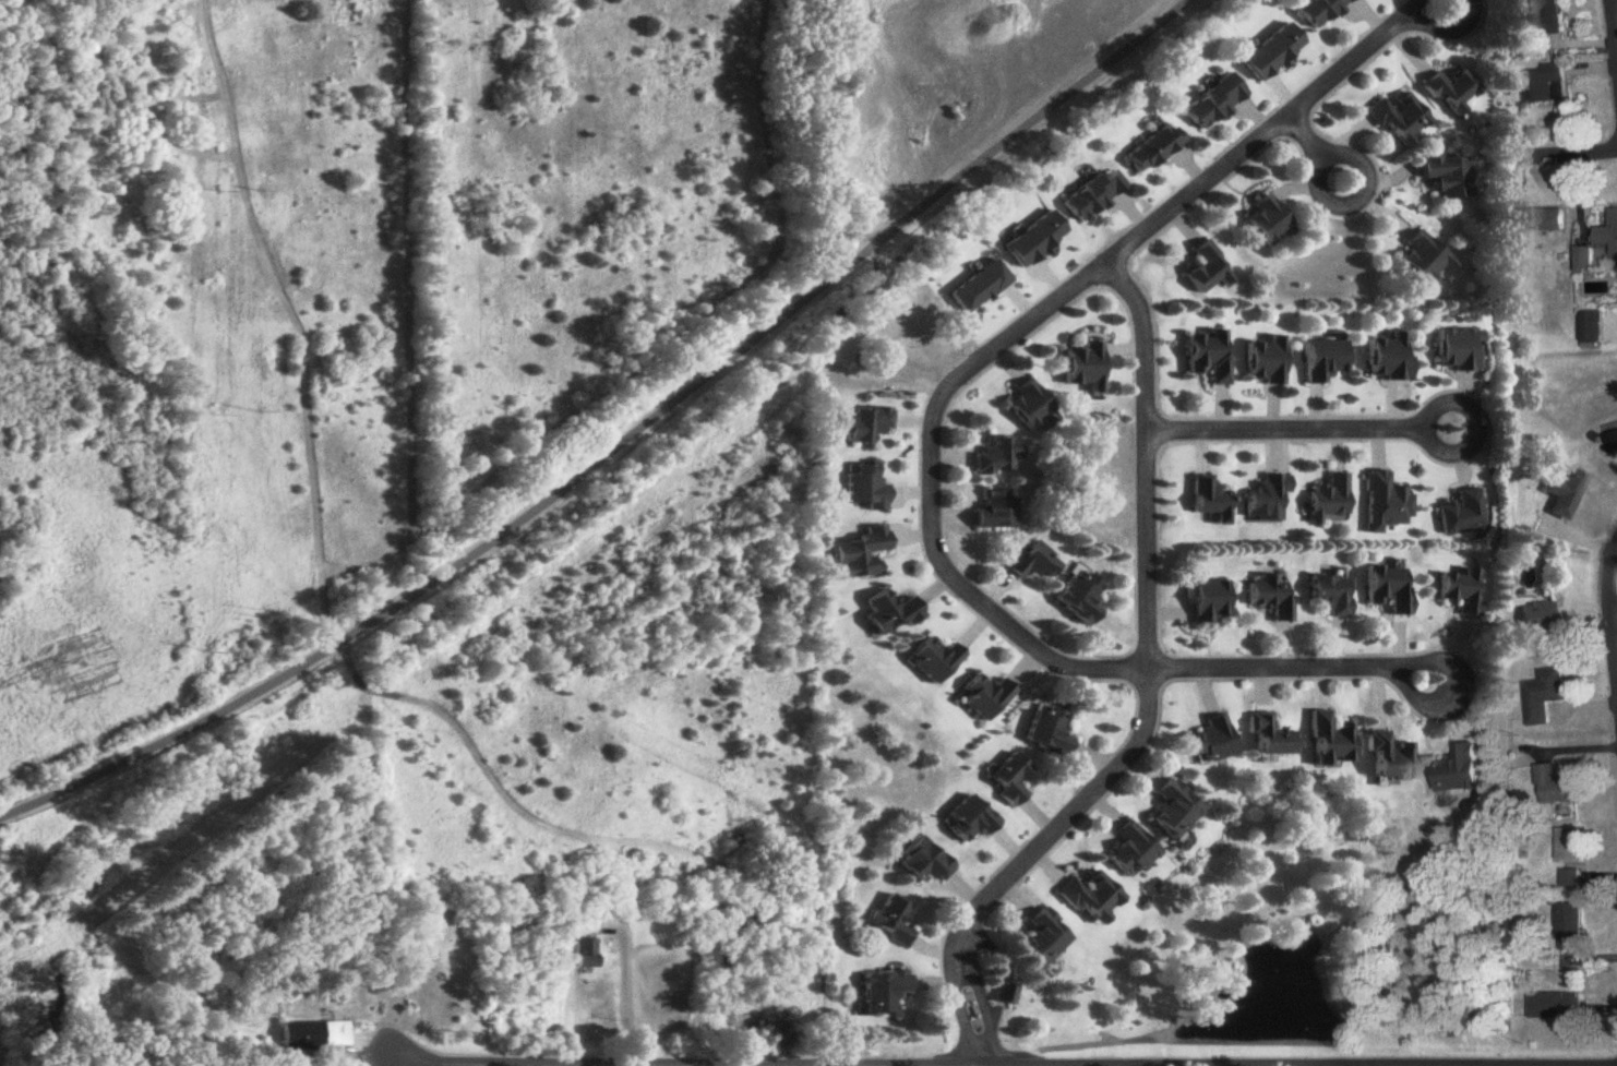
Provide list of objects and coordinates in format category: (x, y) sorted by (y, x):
road: (1616, 5)
road: (1410, 8)
building: (1319, 10)
building: (1546, 17)
road: (1445, 27)
building: (1546, 85)
building: (1454, 94)
building: (1215, 101)
building: (1401, 119)
road: (1314, 148)
building: (1155, 149)
road: (1561, 152)
building: (1449, 177)
building: (1094, 196)
building: (1268, 221)
building: (1540, 221)
building: (1608, 233)
building: (1425, 260)
building: (1584, 261)
building: (1209, 271)
road: (780, 312)
building: (1588, 327)
building: (1210, 356)
building: (1390, 358)
building: (1326, 361)
building: (1267, 362)
building: (1088, 368)
building: (1030, 408)
building: (867, 426)
road: (934, 428)
road: (1298, 428)
building: (1613, 444)
building: (999, 458)
building: (866, 488)
building: (1567, 492)
building: (1268, 499)
building: (1330, 499)
building: (1212, 500)
building: (997, 511)
building: (862, 555)
building: (1034, 563)
building: (1390, 589)
building: (1463, 591)
building: (1332, 595)
building: (1271, 596)
building: (1080, 598)
building: (1211, 601)
building: (891, 613)
road: (1609, 615)
building: (1541, 623)
building: (934, 660)
road: (1438, 667)
building: (1544, 696)
road: (1148, 697)
building: (986, 698)
road: (1421, 700)
road: (197, 717)
building: (1050, 732)
building: (1270, 738)
building: (1331, 741)
building: (1213, 742)
building: (1391, 757)
building: (1462, 770)
building: (1011, 780)
building: (1556, 787)
building: (1175, 811)
building: (971, 821)
building: (1571, 846)
building: (1133, 852)
building: (927, 863)
building: (1092, 898)
building: (751, 921)
building: (894, 921)
building: (1571, 929)
building: (1045, 937)
building: (587, 954)
road: (628, 990)
building: (885, 993)
building: (1557, 1007)
building: (318, 1037)

